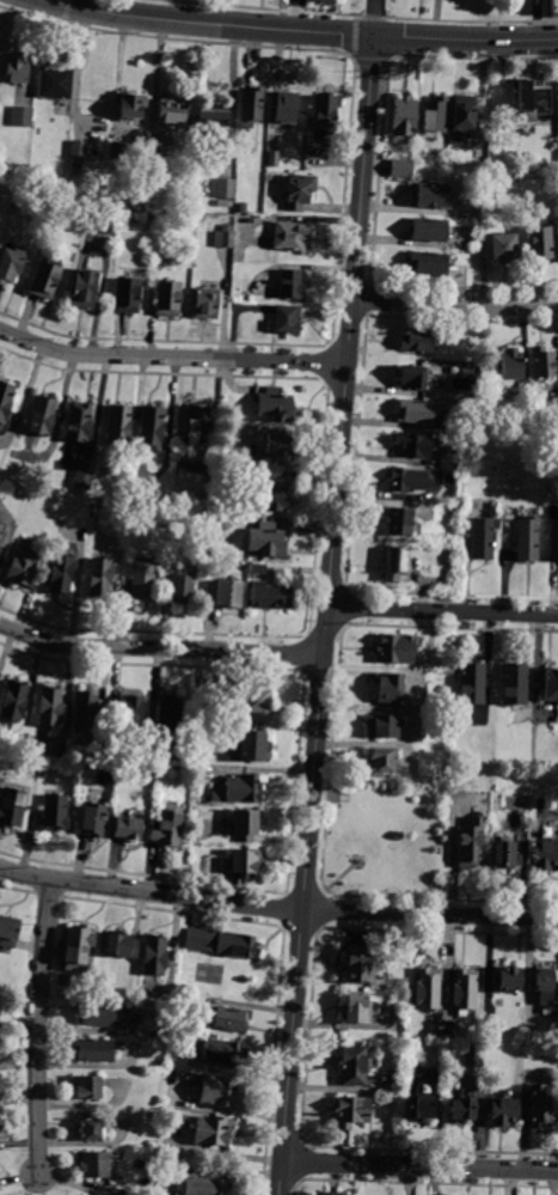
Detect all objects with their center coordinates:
road: (55, 1)
building: (324, 1)
road: (69, 2)
building: (554, 8)
road: (269, 14)
road: (295, 14)
road: (374, 17)
road: (209, 24)
traffic signals: (374, 33)
road: (465, 38)
building: (17, 68)
building: (55, 80)
building: (557, 90)
building: (535, 100)
building: (131, 105)
building: (253, 108)
building: (172, 109)
building: (289, 110)
building: (23, 115)
building: (327, 115)
building: (436, 116)
building: (405, 118)
building: (465, 122)
building: (214, 127)
building: (525, 130)
building: (78, 151)
building: (119, 151)
building: (158, 153)
building: (274, 158)
building: (400, 167)
building: (75, 169)
building: (554, 171)
building: (227, 189)
building: (298, 189)
building: (430, 195)
building: (223, 203)
building: (241, 208)
building: (66, 212)
building: (151, 219)
building: (123, 220)
building: (106, 224)
building: (429, 228)
building: (223, 236)
building: (289, 237)
building: (538, 242)
building: (502, 245)
building: (11, 264)
building: (425, 264)
building: (45, 280)
building: (289, 283)
building: (82, 288)
building: (125, 295)
building: (168, 298)
building: (206, 304)
road: (454, 305)
building: (284, 321)
building: (417, 340)
road: (171, 356)
building: (511, 364)
building: (542, 364)
building: (411, 378)
building: (5, 398)
building: (275, 404)
building: (416, 411)
building: (42, 415)
building: (79, 421)
building: (119, 425)
building: (152, 426)
building: (198, 426)
building: (536, 431)
building: (415, 445)
building: (276, 449)
building: (449, 458)
building: (82, 480)
building: (406, 480)
building: (265, 496)
building: (397, 522)
building: (1, 536)
building: (483, 537)
building: (525, 538)
building: (264, 541)
building: (552, 541)
building: (391, 563)
building: (23, 566)
building: (257, 568)
building: (57, 574)
building: (98, 578)
building: (139, 579)
building: (177, 586)
building: (223, 595)
building: (269, 596)
road: (443, 611)
road: (327, 614)
road: (159, 648)
building: (393, 648)
building: (472, 683)
building: (515, 684)
building: (550, 685)
building: (386, 689)
building: (253, 700)
building: (16, 702)
building: (50, 707)
building: (87, 712)
building: (127, 713)
building: (168, 713)
building: (379, 727)
building: (250, 746)
building: (378, 761)
building: (237, 791)
building: (12, 807)
building: (55, 812)
building: (93, 818)
building: (243, 824)
building: (127, 827)
building: (165, 828)
road: (324, 833)
building: (470, 845)
park: (379, 848)
road: (361, 855)
building: (542, 855)
building: (502, 856)
building: (239, 862)
road: (337, 876)
road: (301, 888)
road: (381, 892)
road: (283, 906)
road: (277, 908)
road: (319, 909)
road: (300, 923)
building: (8, 931)
building: (219, 943)
building: (121, 944)
building: (78, 947)
building: (152, 955)
building: (357, 967)
building: (508, 980)
building: (545, 983)
building: (427, 989)
building: (465, 989)
building: (174, 1001)
building: (355, 1010)
building: (93, 1014)
building: (229, 1019)
building: (490, 1025)
road: (36, 1029)
building: (452, 1029)
building: (439, 1030)
building: (91, 1050)
building: (221, 1051)
building: (473, 1055)
building: (355, 1066)
building: (85, 1087)
building: (217, 1091)
building: (458, 1108)
building: (539, 1108)
building: (417, 1109)
building: (502, 1110)
building: (350, 1111)
building: (159, 1115)
building: (91, 1124)
building: (211, 1130)
building: (92, 1165)
road: (419, 1166)
building: (204, 1185)
building: (338, 1193)
building: (82, 1194)

